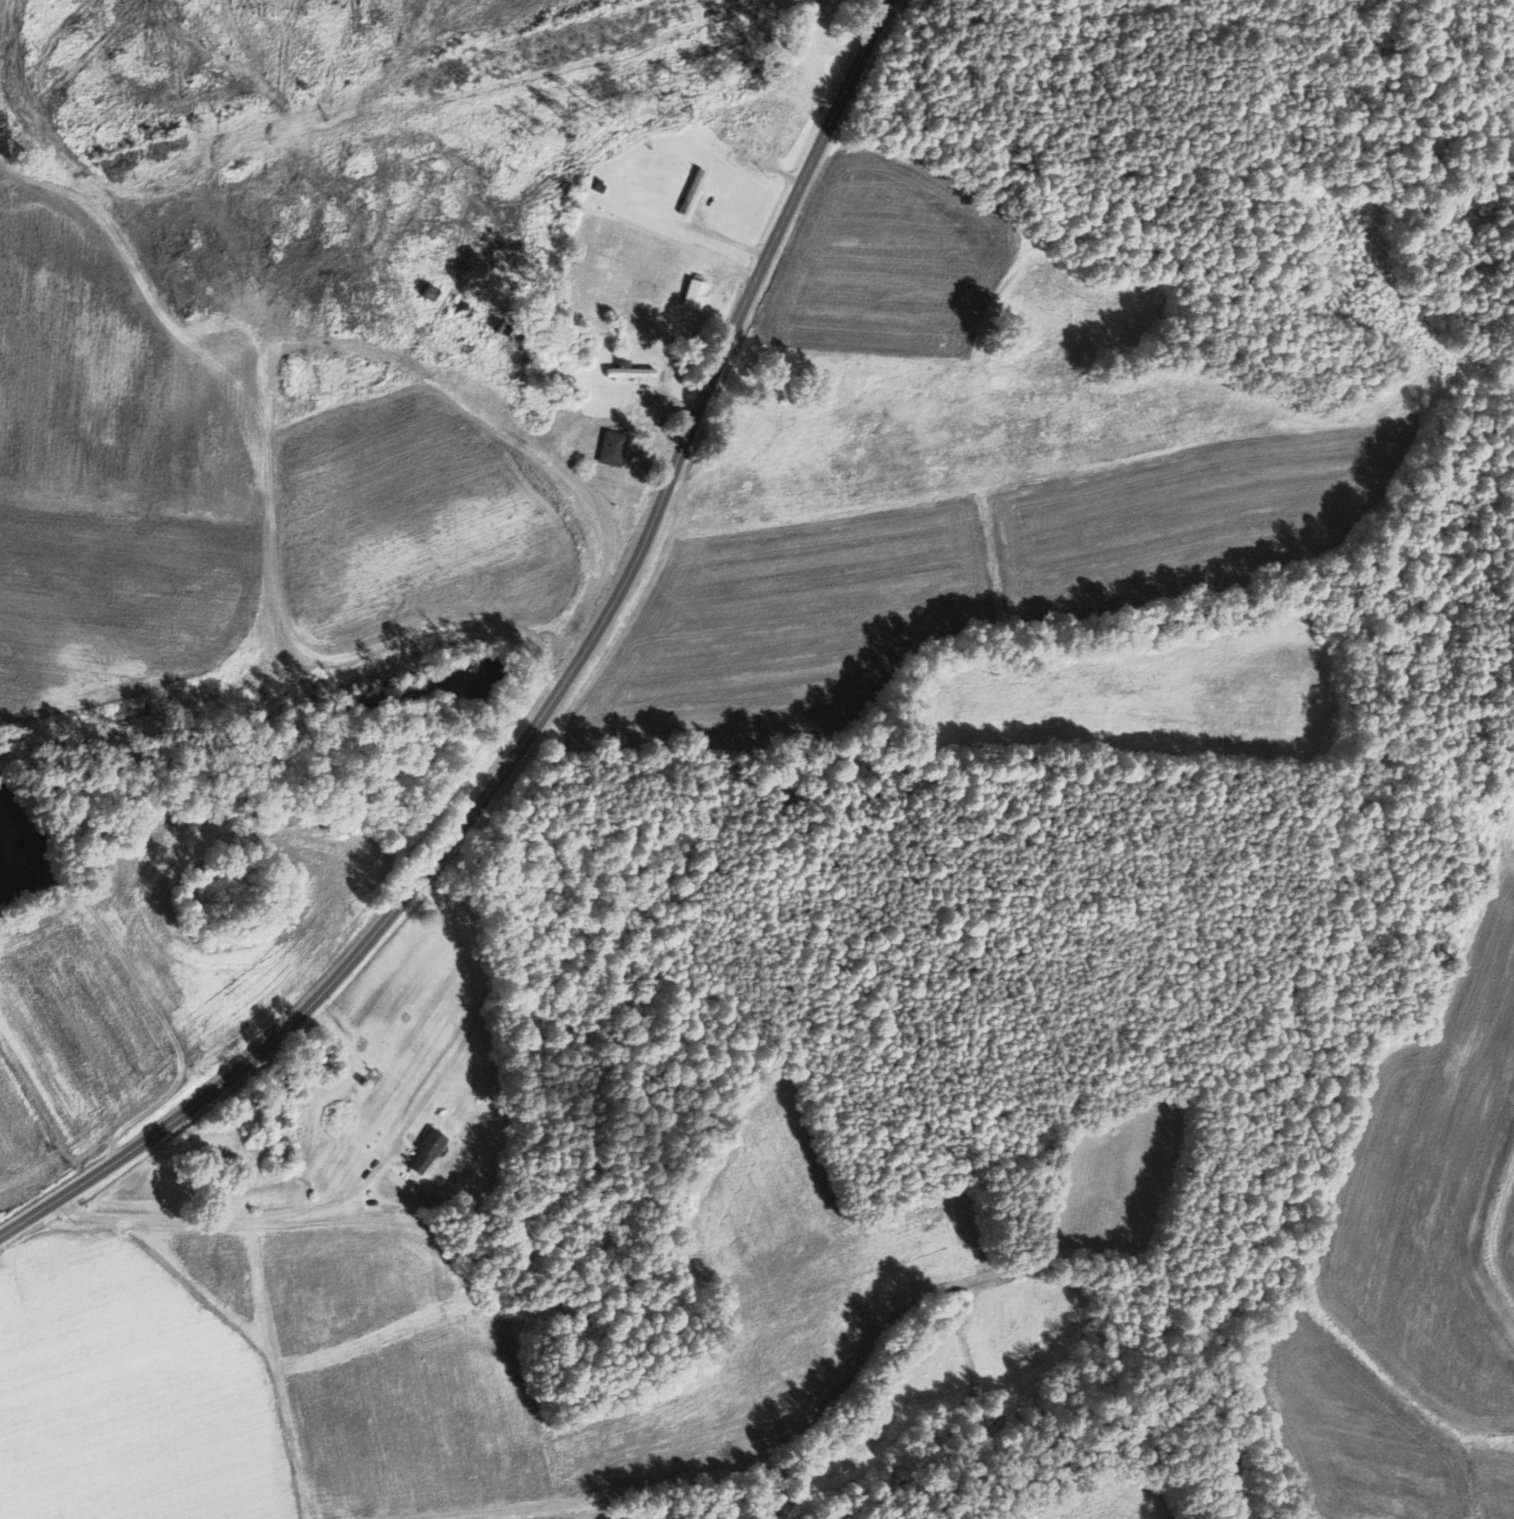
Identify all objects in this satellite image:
power tower: (462, 73)
building: (746, 141)
road: (774, 172)
power tower: (114, 175)
building: (694, 191)
road: (731, 242)
building: (697, 293)
building: (632, 371)
building: (613, 447)
road: (552, 697)
building: (284, 1121)
building: (429, 1151)
road: (373, 1171)

